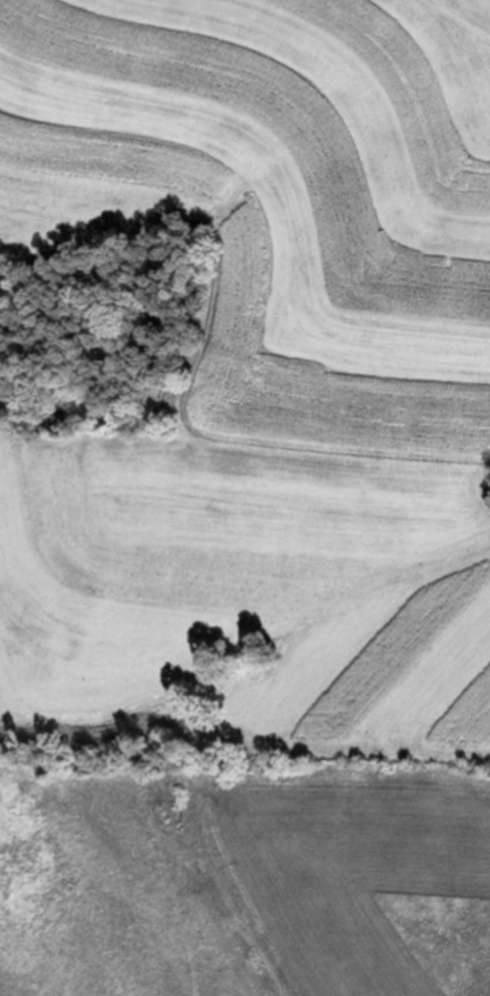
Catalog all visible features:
road: (201, 337)

